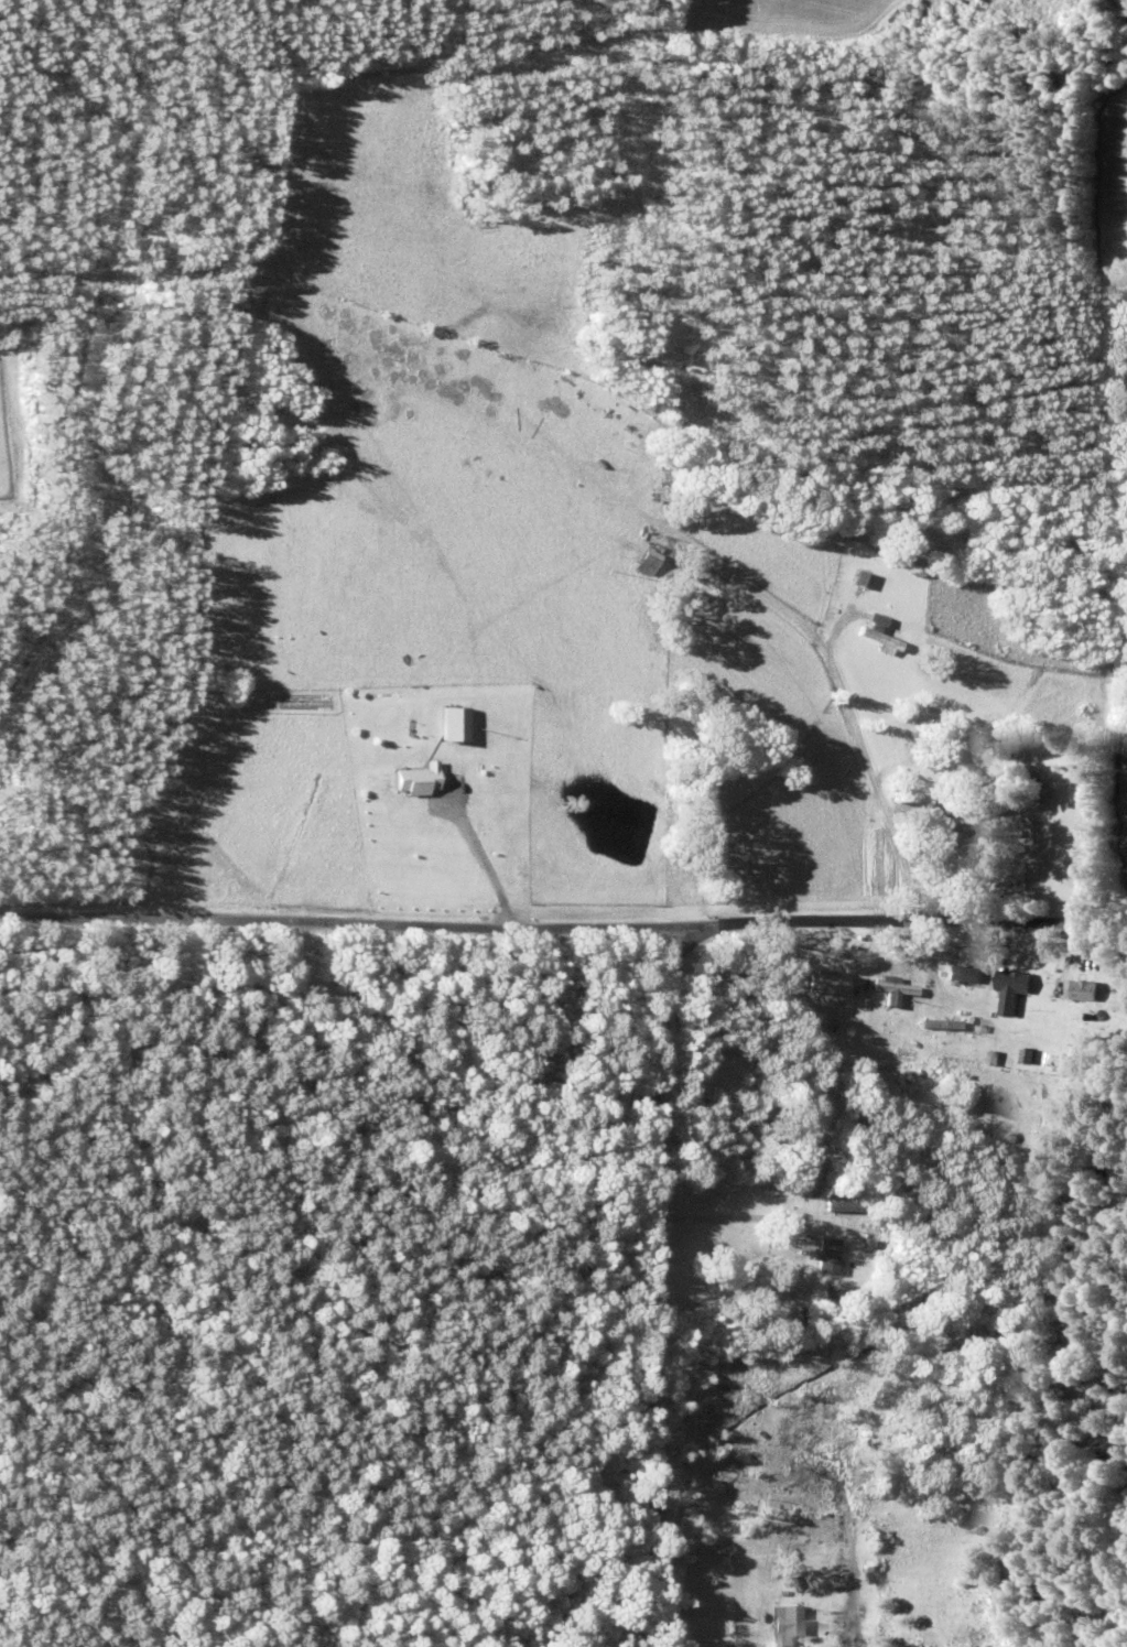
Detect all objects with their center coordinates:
building: (647, 557)
building: (861, 578)
building: (877, 632)
road: (812, 672)
building: (415, 779)
building: (944, 830)
road: (888, 949)
road: (324, 953)
building: (963, 974)
building: (824, 984)
building: (1015, 989)
building: (1088, 990)
building: (880, 1074)
building: (974, 1136)
building: (868, 1238)
building: (822, 1256)
road: (659, 1299)
building: (789, 1626)

